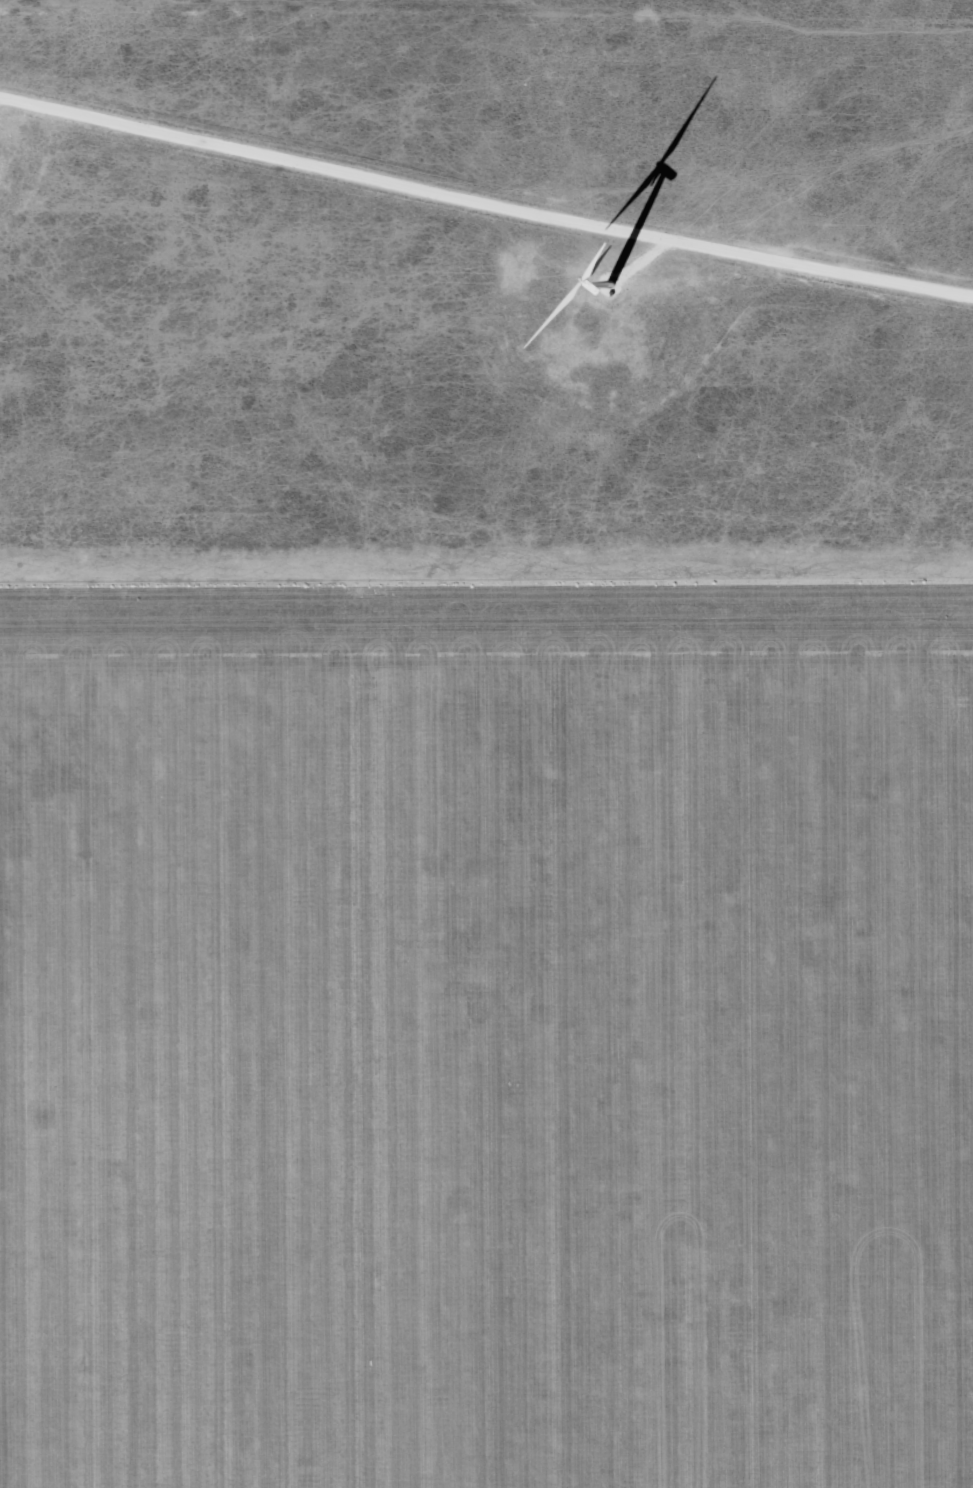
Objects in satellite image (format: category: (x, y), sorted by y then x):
wind turbine: (609, 289)

